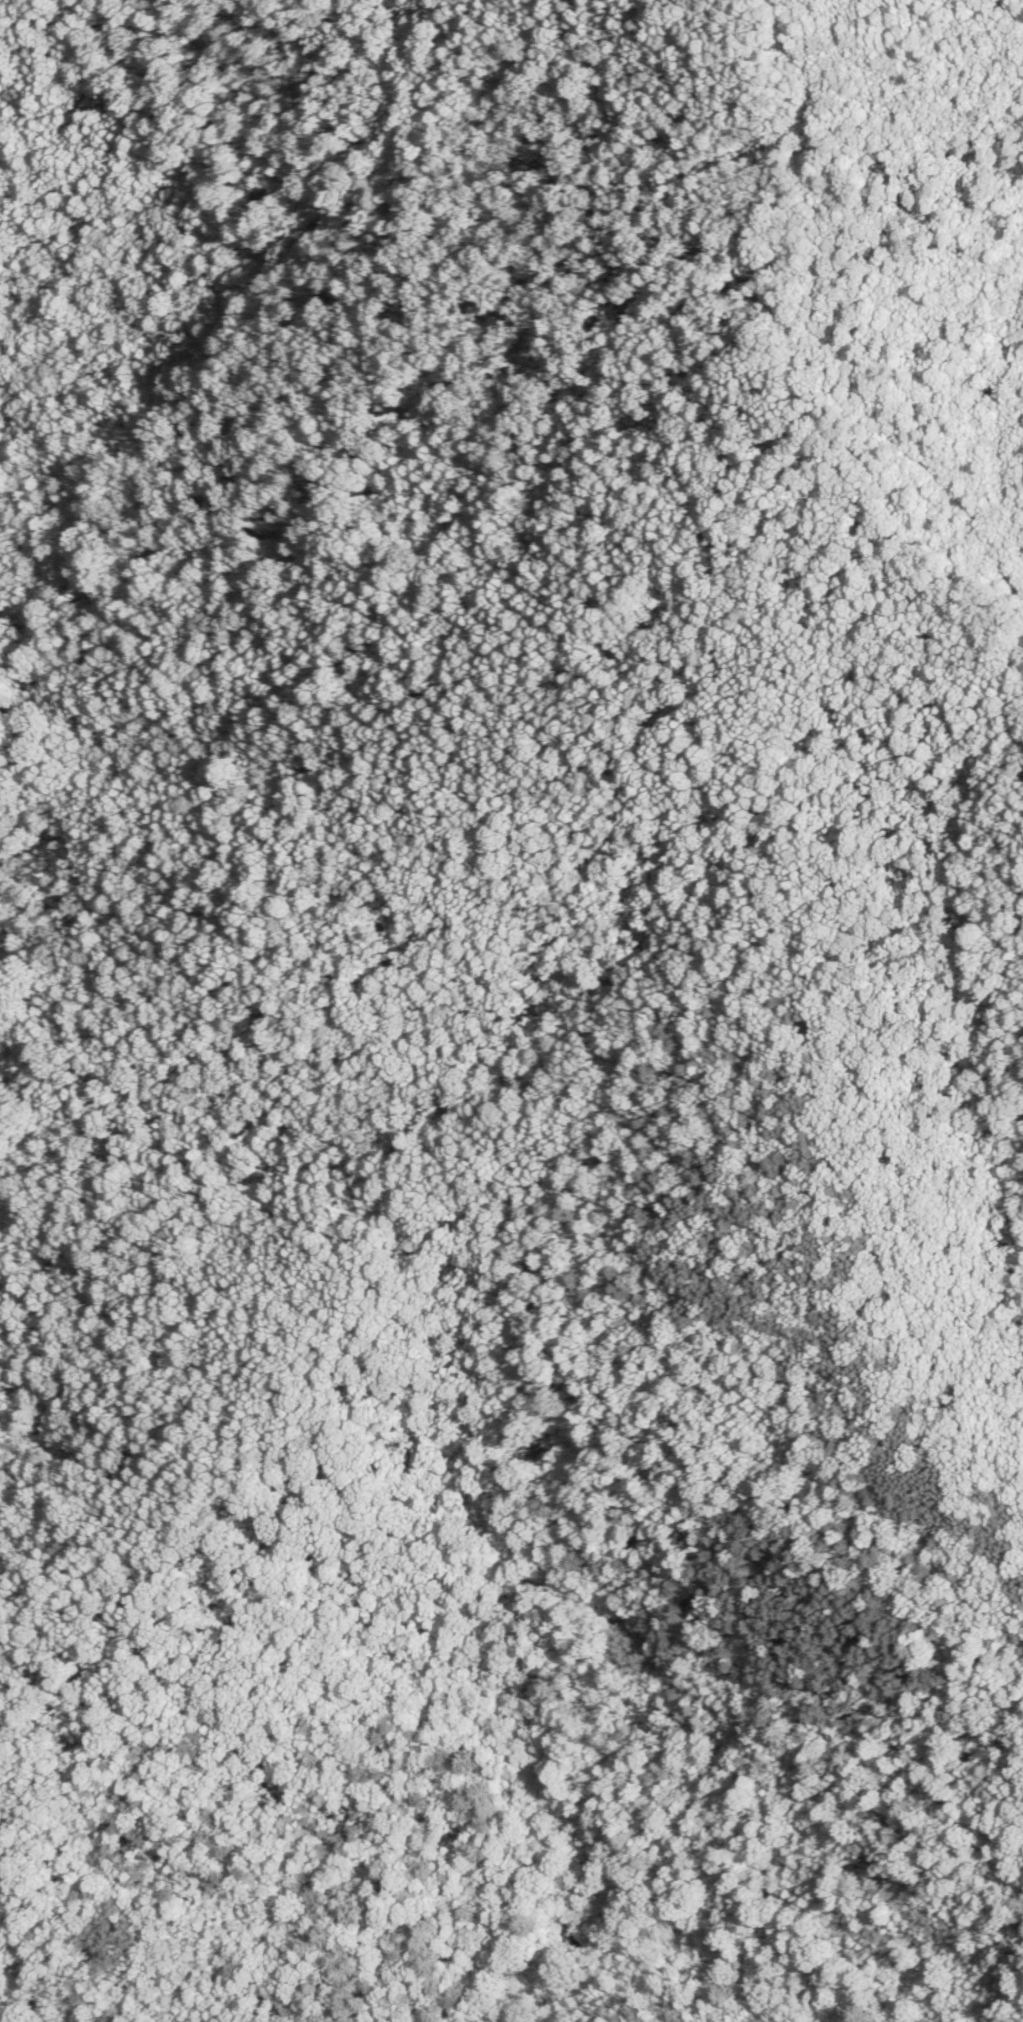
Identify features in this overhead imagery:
river: (686, 1938)

